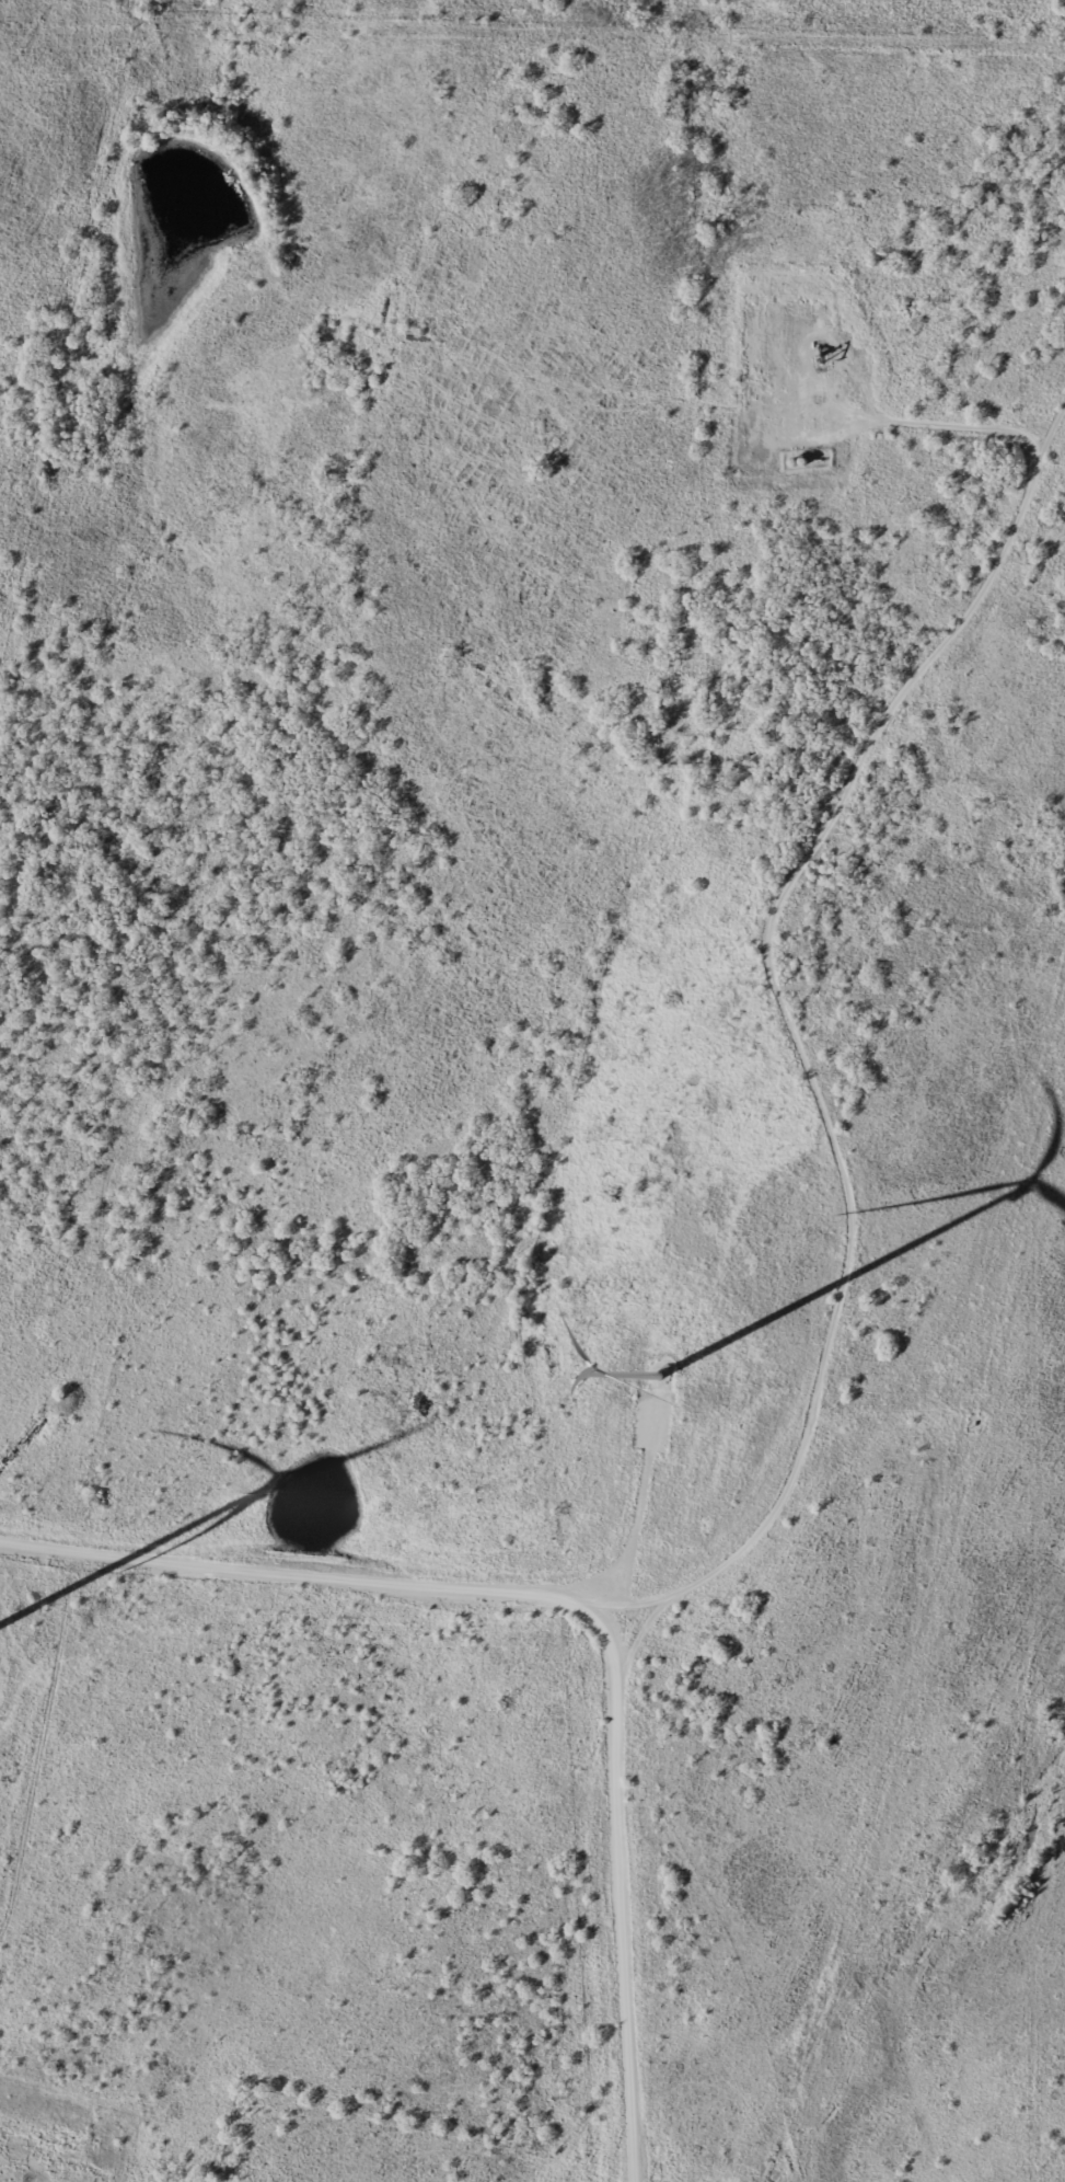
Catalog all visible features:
road: (852, 422)
road: (811, 1056)
wind turbine: (659, 1374)
road: (607, 1585)

